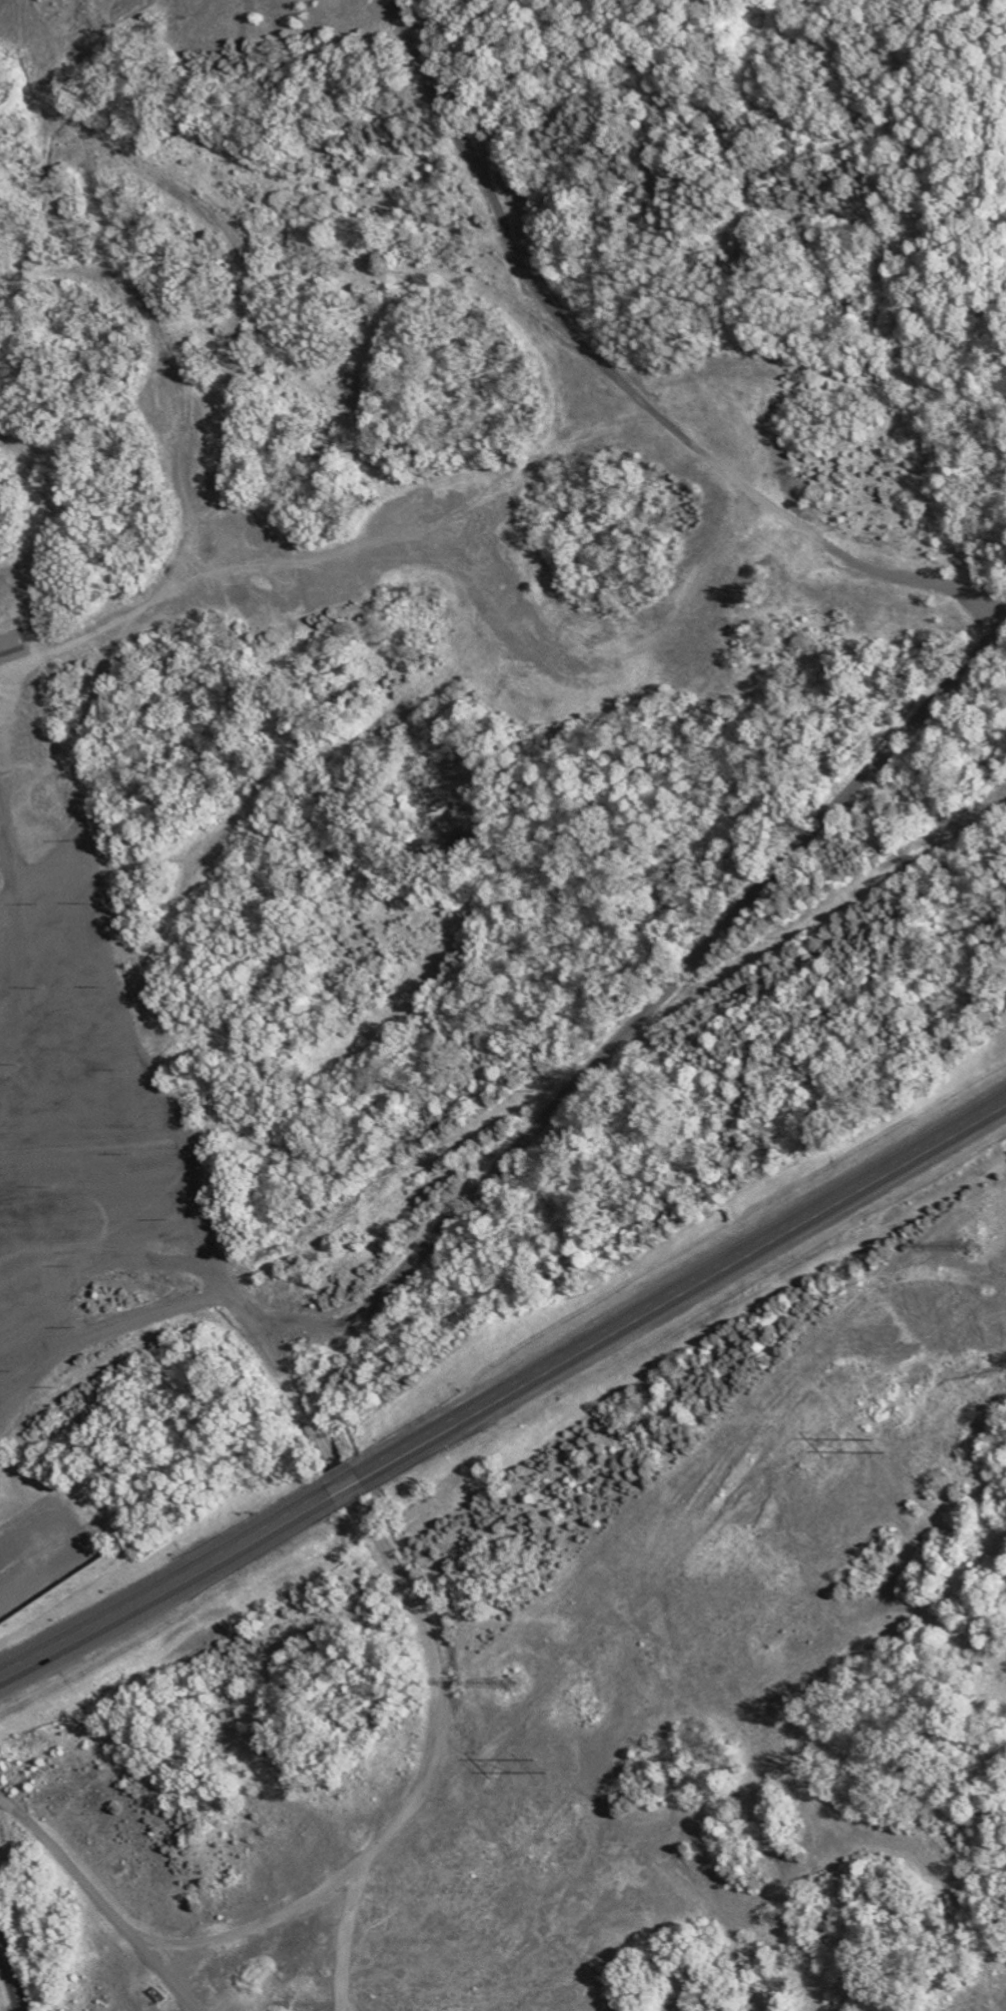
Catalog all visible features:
road: (20, 940)
road: (638, 1018)
power tower: (970, 1245)
road: (116, 1256)
road: (683, 1287)
power tower: (878, 1445)
road: (346, 1485)
road: (367, 1518)
road: (167, 1586)
power tower: (512, 1683)
power tower: (540, 1767)
road: (100, 1904)
road: (263, 1921)
road: (7, 1988)

